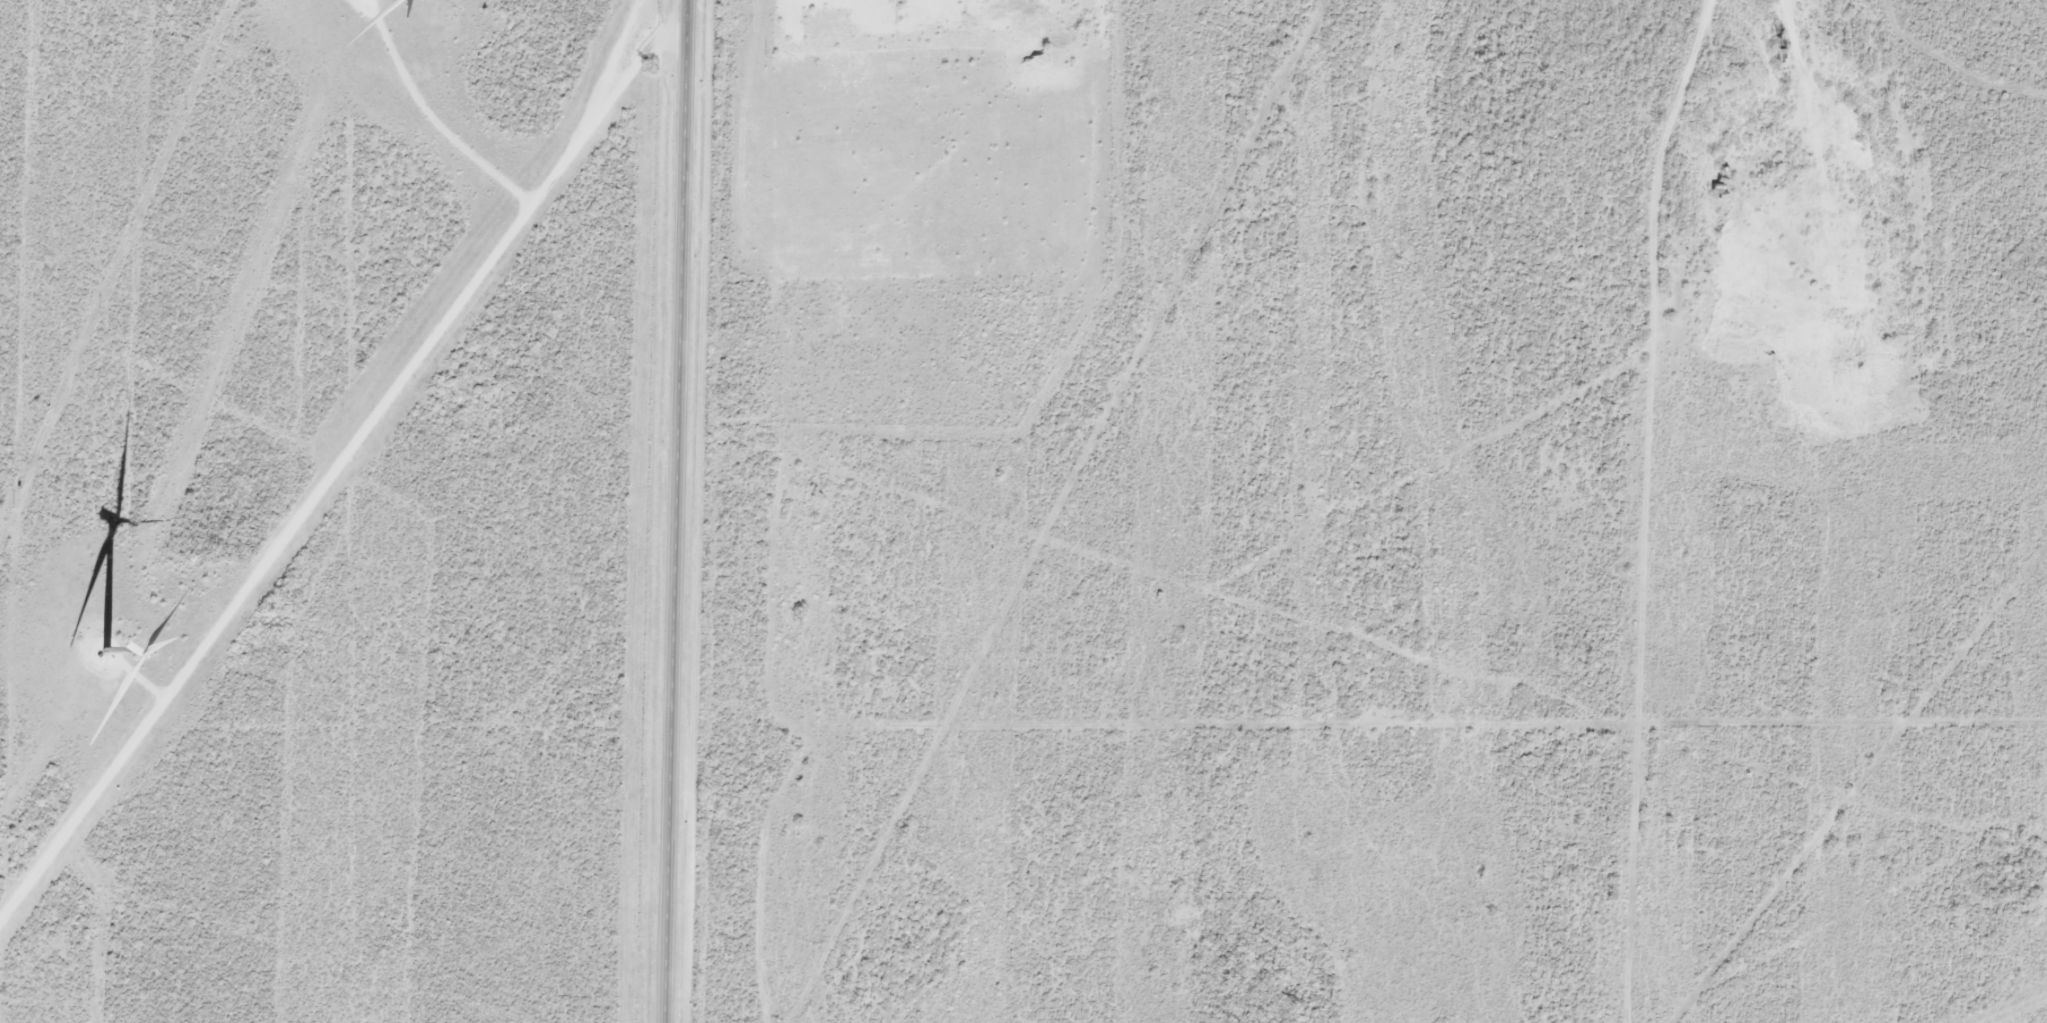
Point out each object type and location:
road: (333, 493)
road: (682, 511)
wind turbine: (108, 651)

